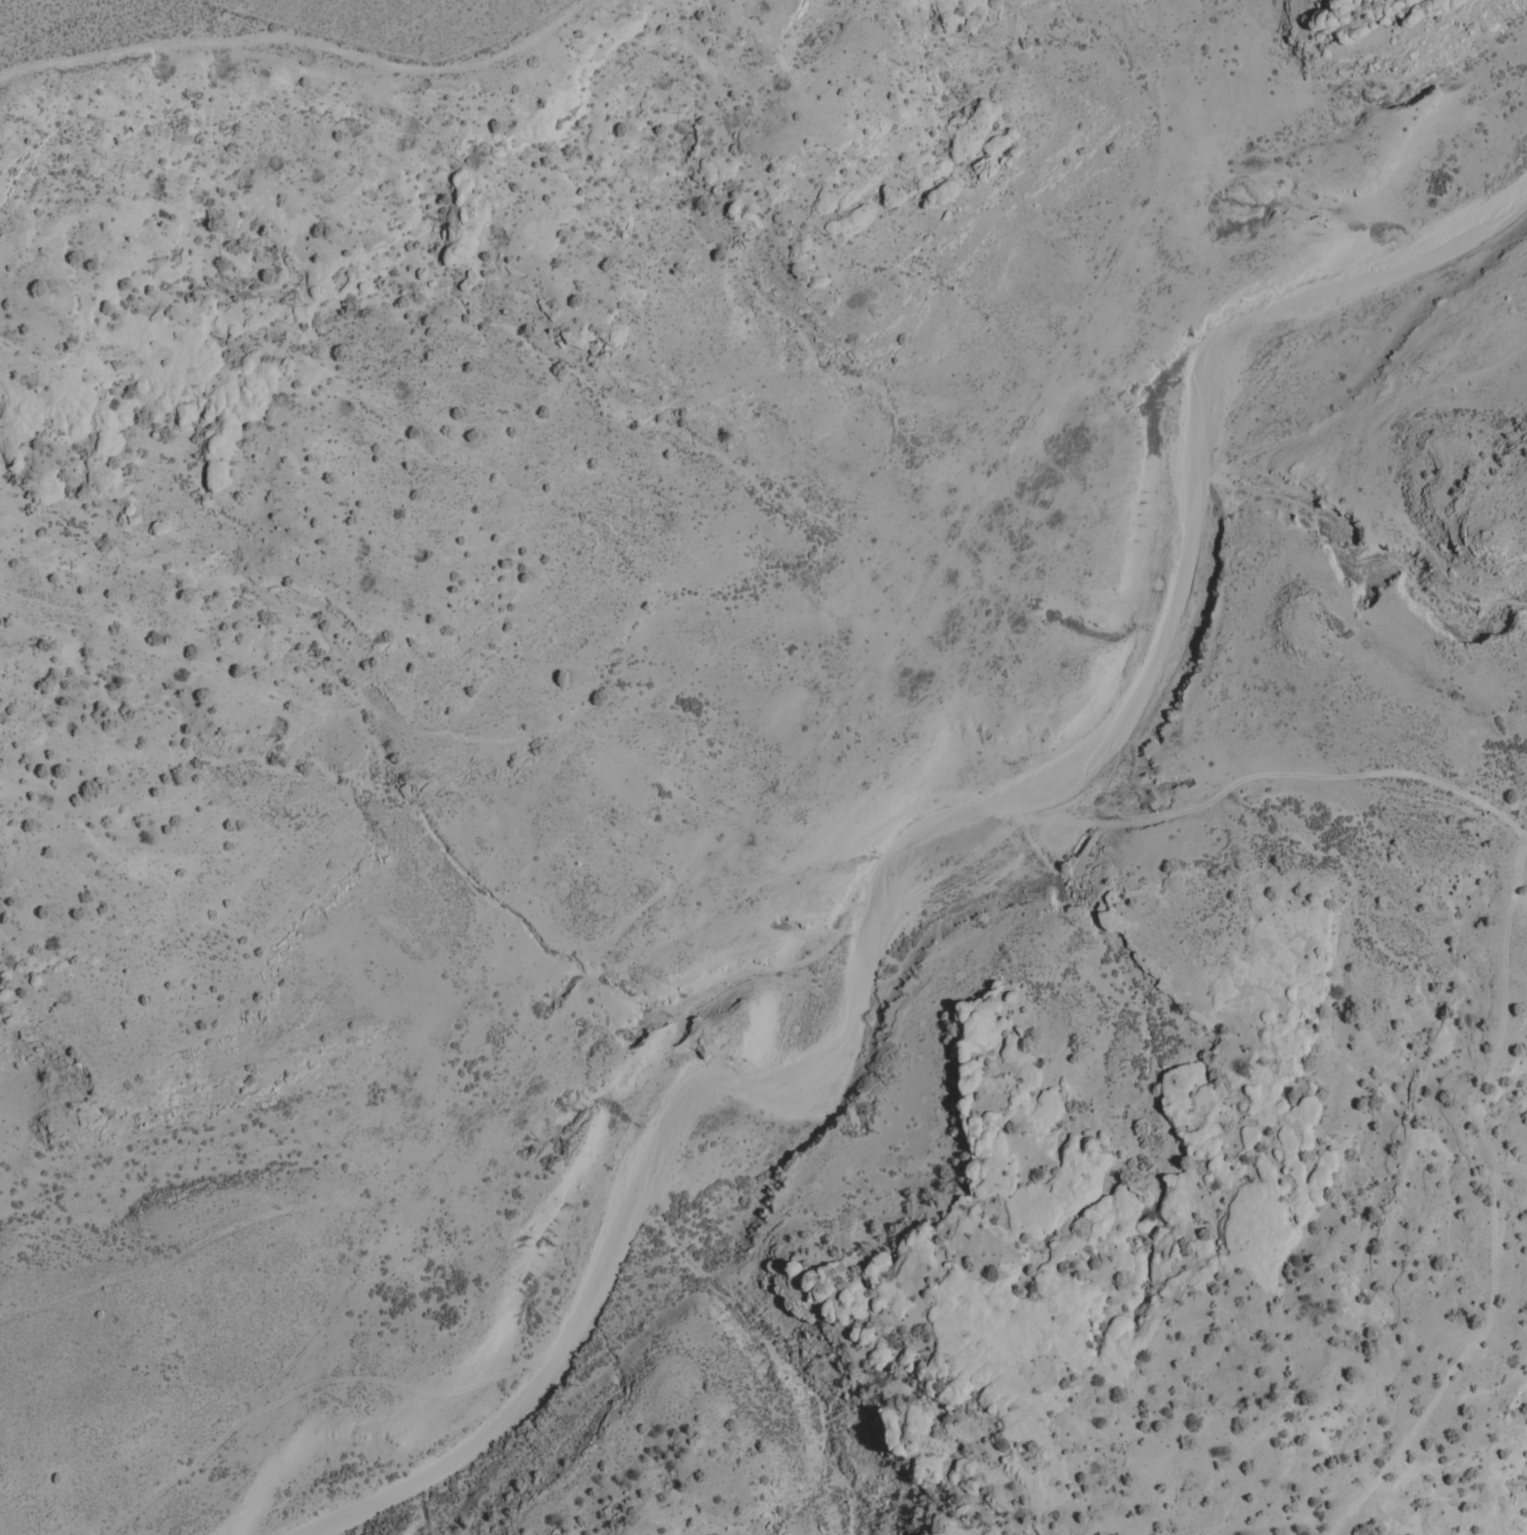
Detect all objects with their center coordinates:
road: (293, 27)

